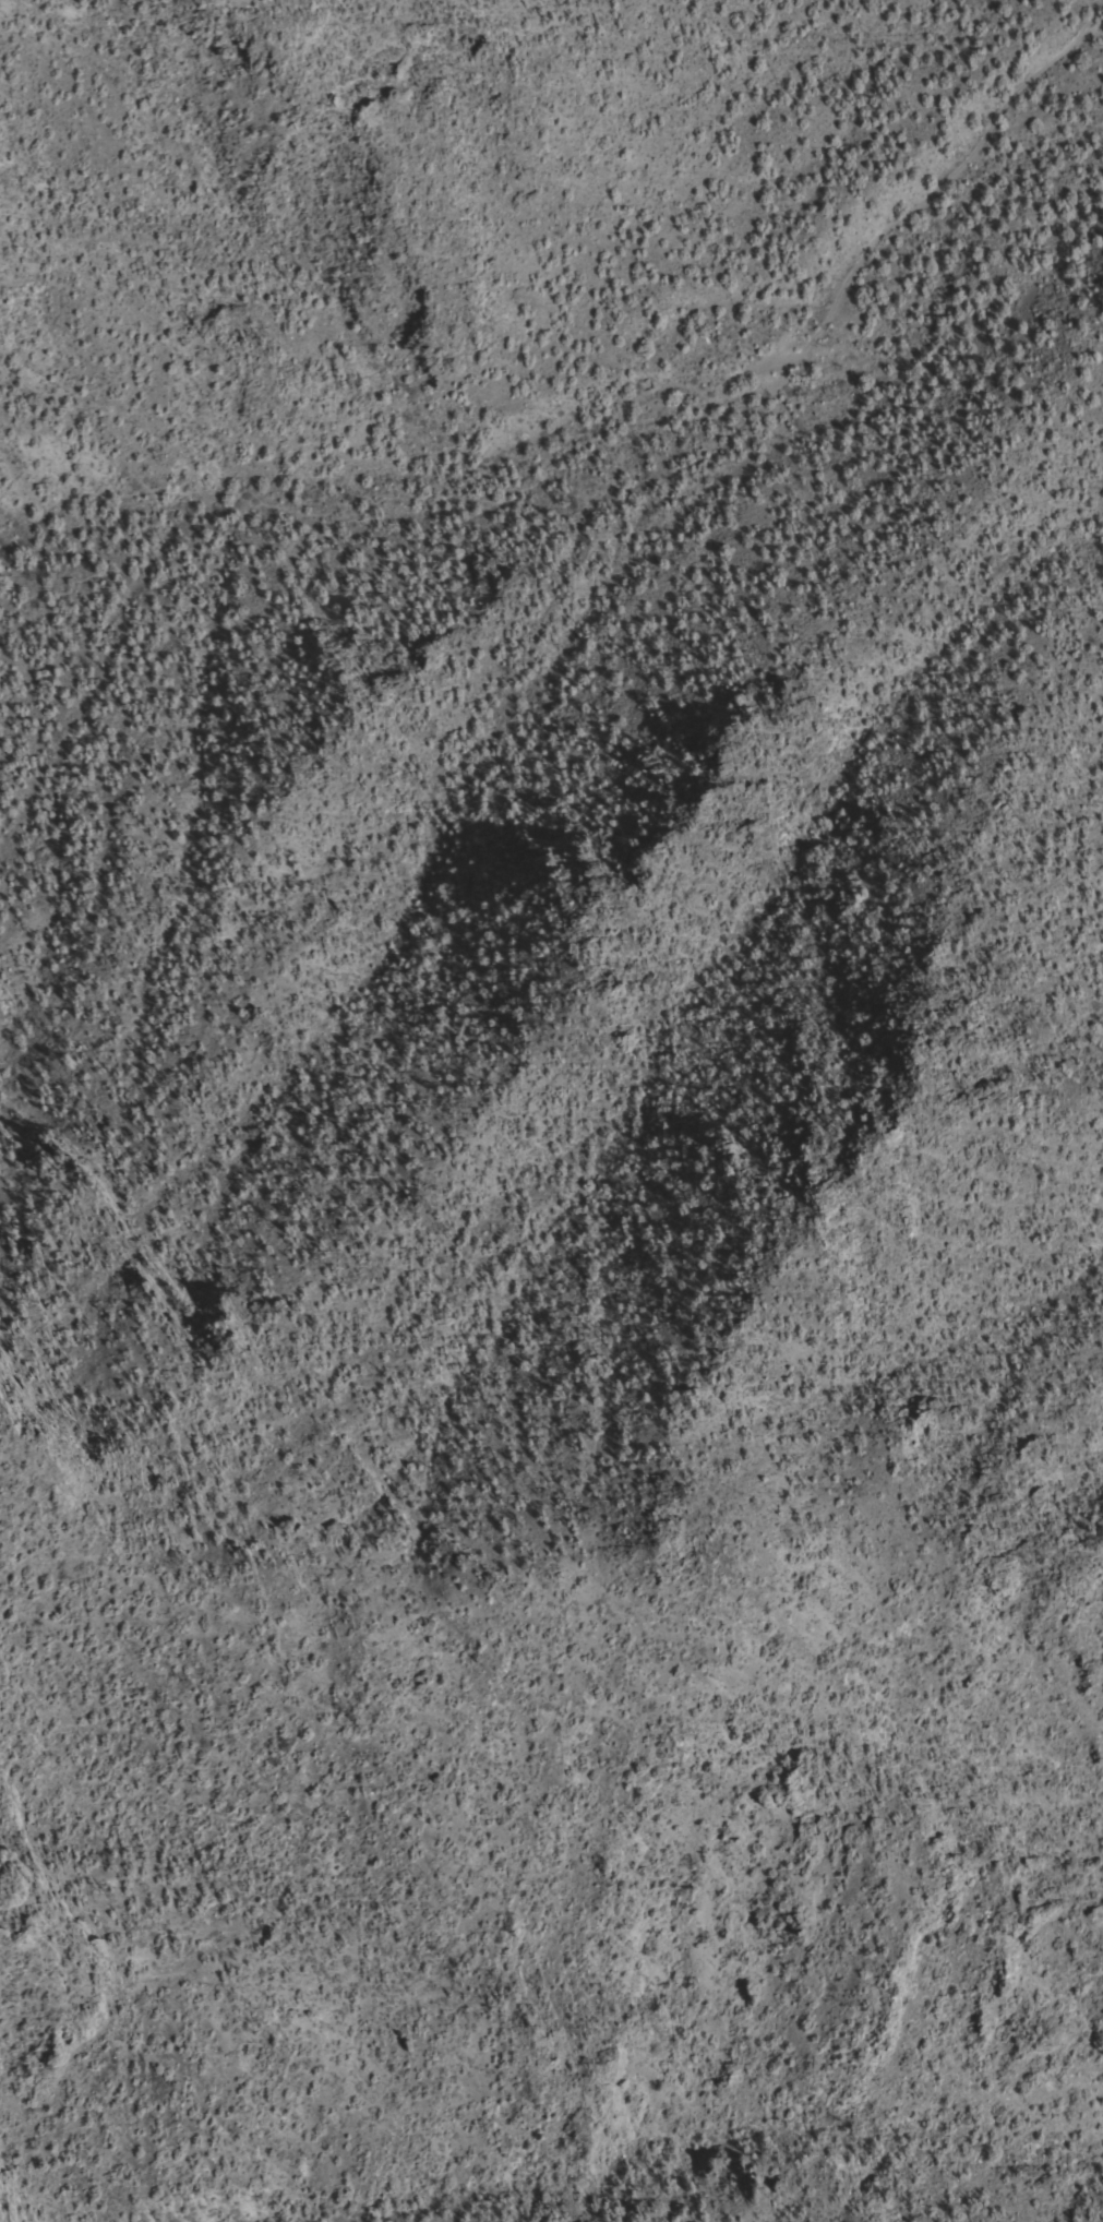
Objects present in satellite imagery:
road: (950, 176)
road: (408, 482)

